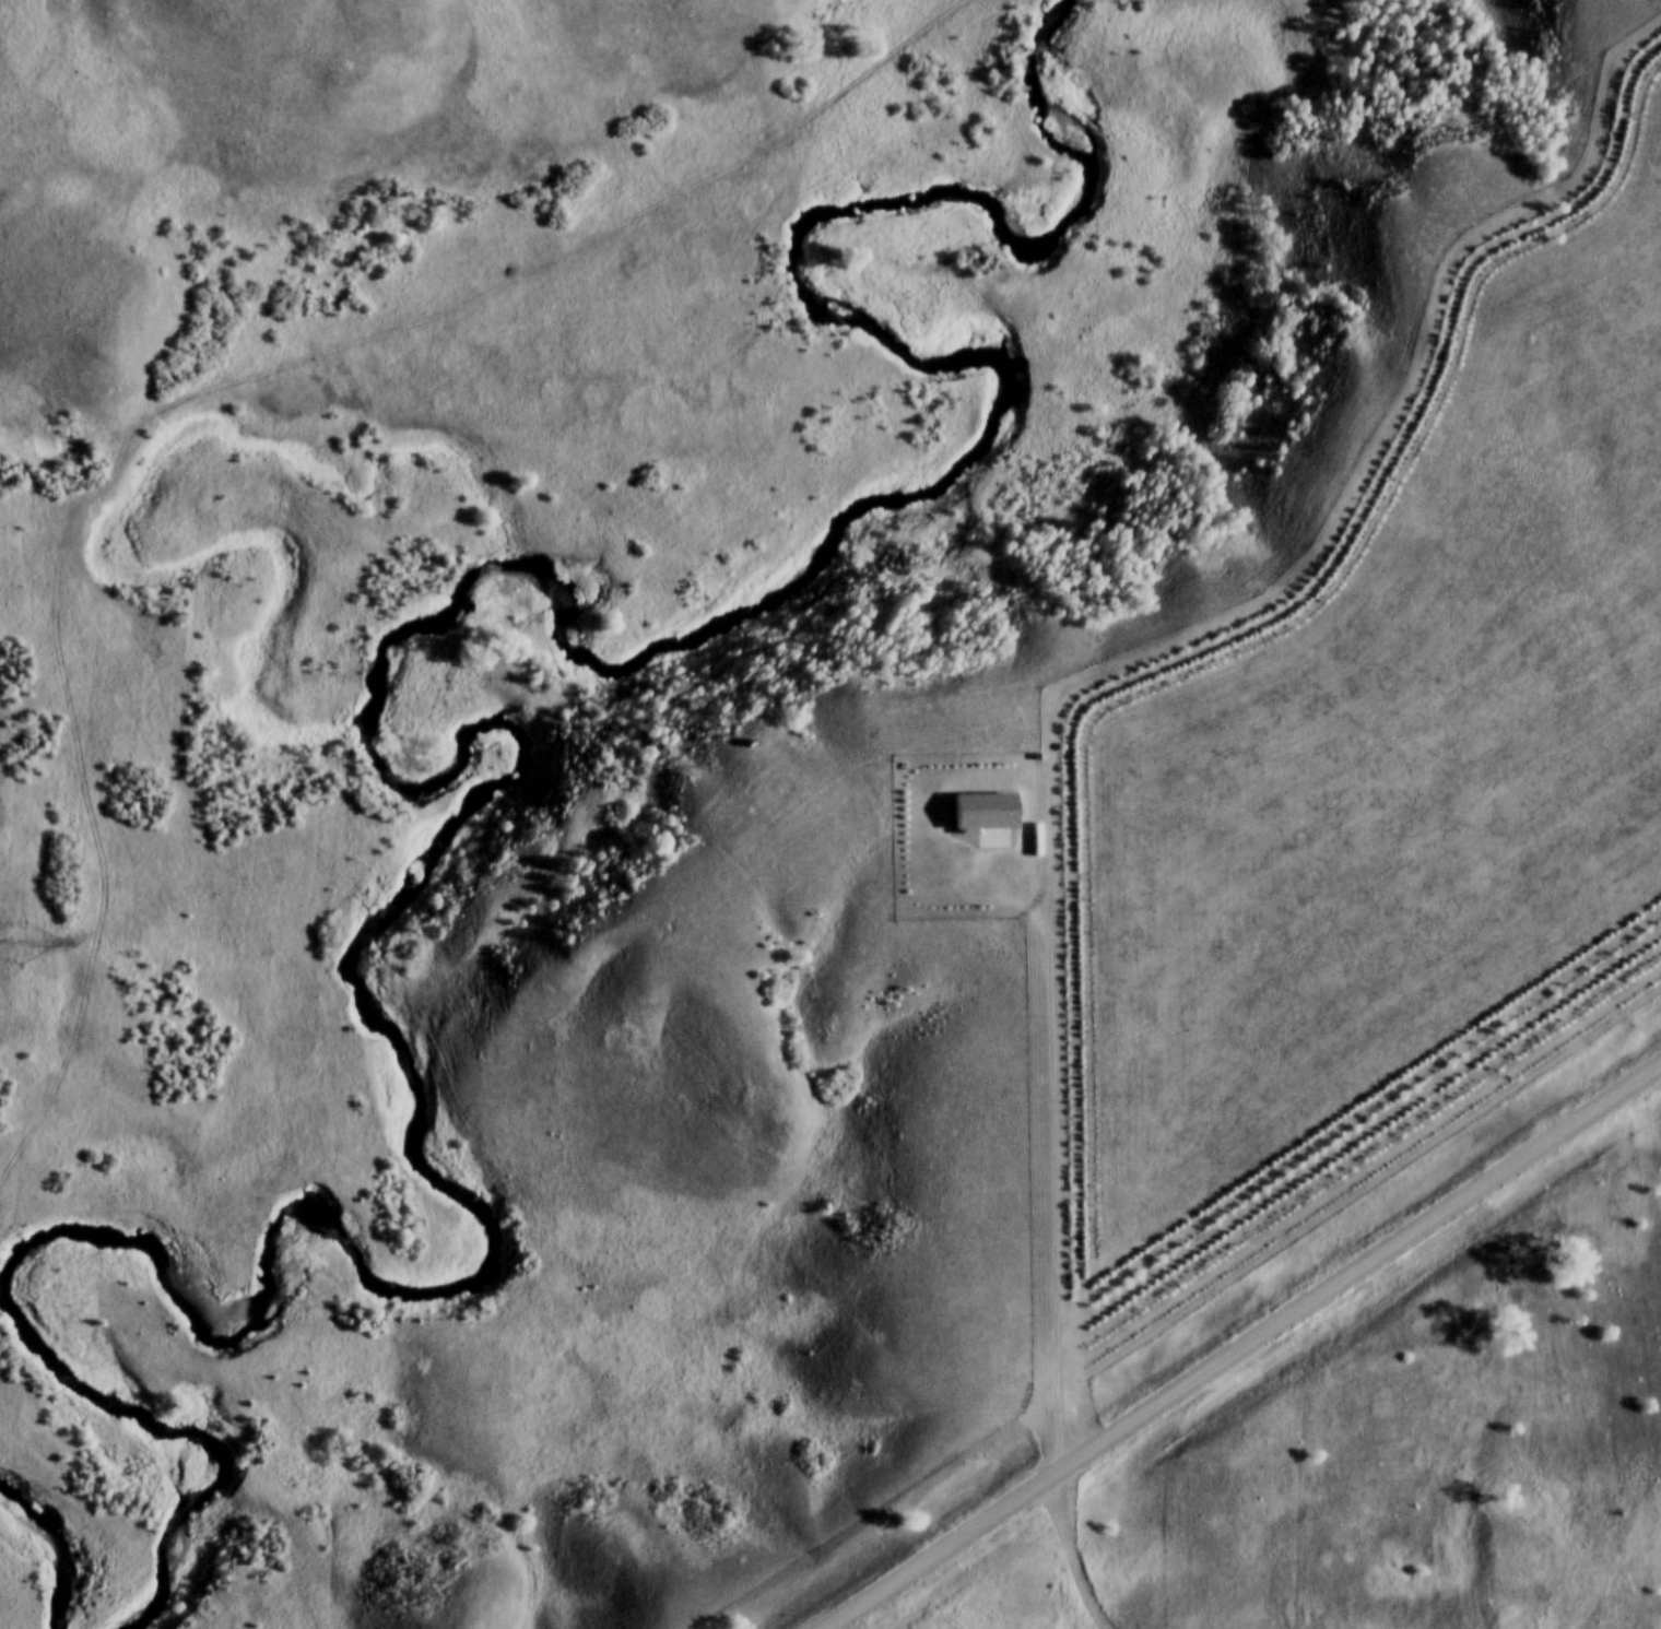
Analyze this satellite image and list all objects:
building: (981, 803)
power tower: (7, 948)
road: (1246, 1345)
road: (1081, 1556)

